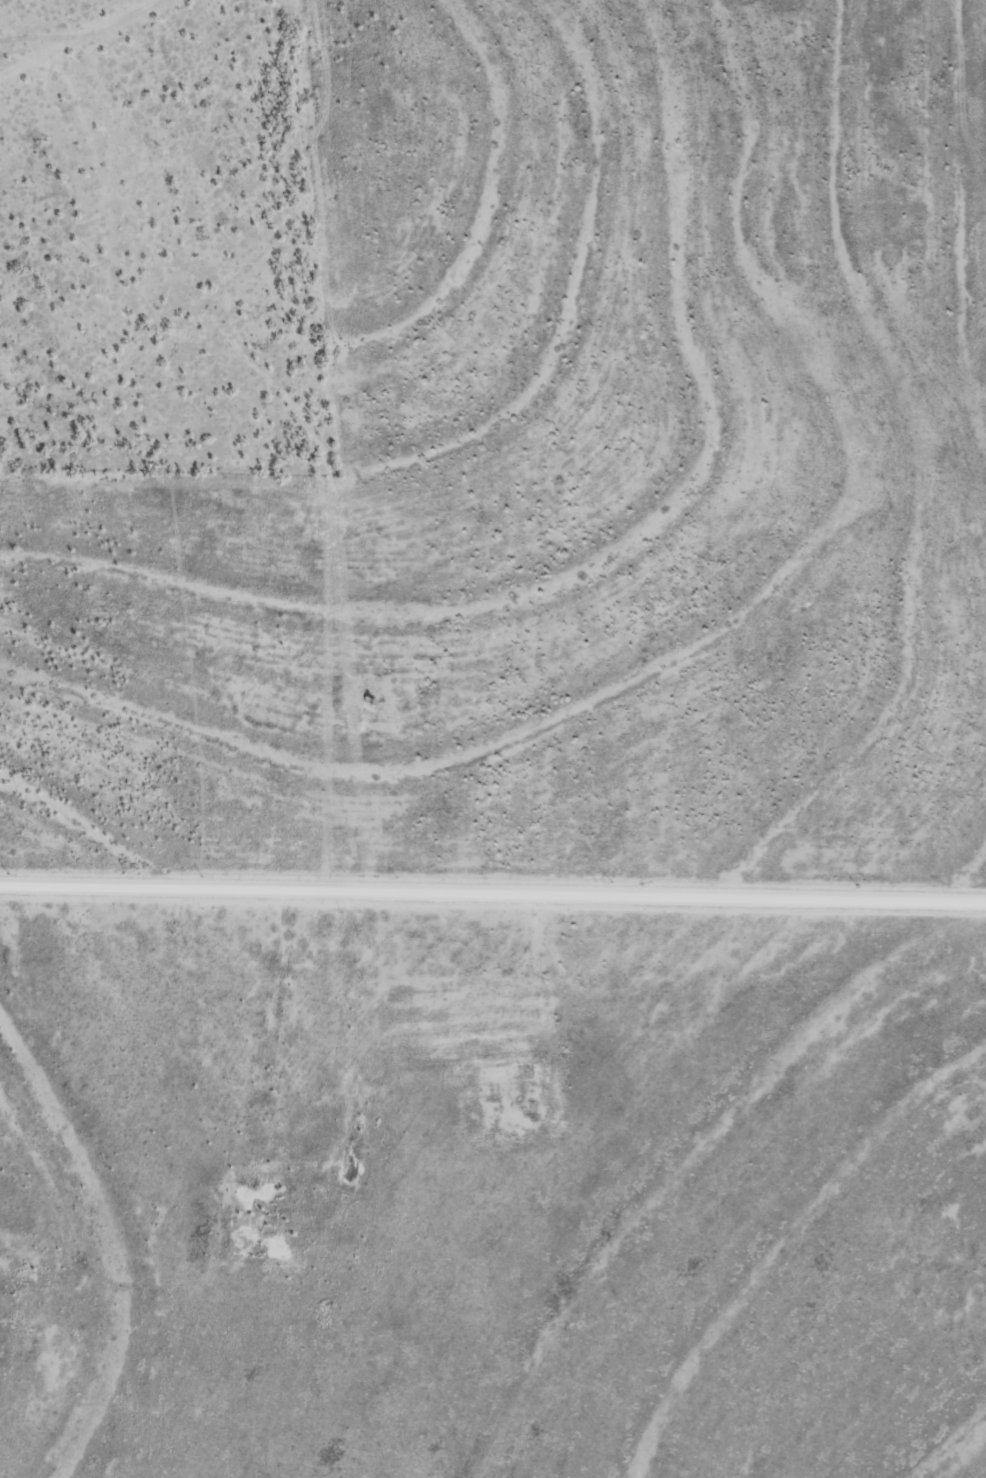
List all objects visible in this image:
road: (89, 40)
road: (493, 892)
road: (79, 1255)

